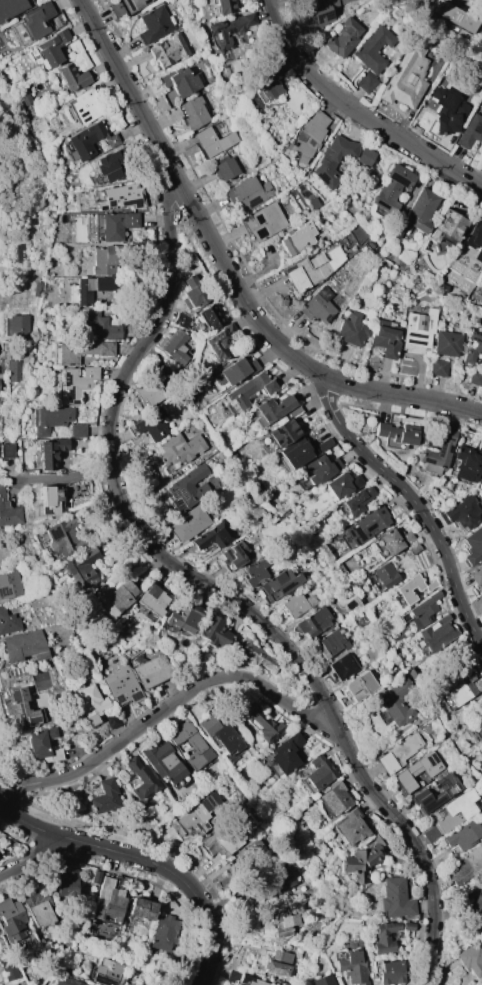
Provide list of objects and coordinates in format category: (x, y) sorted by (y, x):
building: (126, 6)
building: (10, 7)
building: (223, 7)
building: (319, 13)
building: (452, 14)
building: (37, 19)
building: (154, 25)
building: (229, 29)
building: (341, 38)
building: (50, 47)
building: (372, 48)
building: (168, 50)
building: (406, 75)
building: (72, 77)
building: (366, 82)
building: (181, 83)
building: (266, 85)
building: (23, 96)
building: (83, 107)
building: (447, 110)
building: (192, 112)
road: (357, 113)
building: (470, 131)
building: (308, 136)
building: (88, 140)
building: (215, 141)
building: (364, 157)
building: (332, 160)
building: (111, 163)
building: (225, 169)
building: (391, 189)
building: (248, 193)
building: (120, 196)
building: (420, 210)
building: (263, 222)
building: (117, 224)
building: (447, 227)
building: (300, 237)
building: (475, 241)
road: (211, 242)
building: (19, 253)
building: (107, 259)
building: (311, 270)
building: (442, 287)
building: (36, 288)
building: (93, 288)
building: (191, 292)
building: (317, 306)
building: (208, 317)
building: (181, 320)
building: (18, 325)
building: (101, 326)
building: (418, 327)
building: (351, 330)
building: (385, 338)
building: (218, 342)
building: (446, 343)
building: (472, 345)
building: (173, 346)
building: (81, 351)
building: (437, 366)
building: (12, 370)
building: (233, 371)
building: (474, 377)
building: (78, 383)
building: (149, 389)
building: (247, 392)
road: (450, 405)
building: (274, 409)
building: (50, 419)
building: (149, 426)
building: (77, 430)
building: (218, 432)
building: (396, 432)
building: (281, 433)
building: (178, 448)
building: (5, 450)
building: (301, 451)
building: (49, 452)
building: (437, 452)
building: (467, 463)
building: (318, 469)
road: (61, 476)
building: (481, 476)
building: (342, 484)
building: (187, 488)
building: (47, 500)
building: (357, 500)
road: (413, 502)
building: (8, 513)
building: (462, 513)
road: (57, 515)
building: (188, 523)
building: (366, 525)
building: (61, 536)
building: (213, 536)
building: (394, 540)
building: (473, 546)
building: (413, 549)
building: (233, 554)
building: (79, 567)
building: (254, 571)
building: (476, 574)
building: (385, 575)
building: (9, 584)
building: (277, 584)
building: (402, 589)
road: (218, 593)
building: (481, 596)
building: (114, 598)
building: (151, 600)
building: (295, 604)
building: (420, 611)
building: (184, 617)
building: (313, 621)
building: (8, 622)
building: (213, 631)
building: (436, 634)
building: (330, 643)
building: (23, 646)
building: (253, 653)
building: (341, 666)
building: (152, 671)
building: (121, 685)
building: (358, 686)
building: (460, 687)
building: (89, 702)
building: (396, 702)
building: (18, 708)
road: (170, 710)
building: (111, 720)
building: (261, 724)
building: (479, 725)
building: (219, 731)
building: (42, 744)
building: (191, 744)
building: (481, 745)
building: (397, 752)
building: (285, 753)
building: (164, 763)
building: (416, 770)
building: (318, 772)
building: (140, 778)
building: (437, 792)
building: (103, 797)
building: (333, 798)
building: (456, 811)
building: (194, 816)
building: (349, 827)
building: (464, 835)
building: (220, 840)
road: (32, 858)
building: (361, 860)
road: (145, 861)
building: (466, 866)
building: (116, 876)
building: (95, 877)
building: (283, 881)
building: (67, 883)
building: (394, 898)
building: (107, 900)
building: (476, 904)
building: (35, 906)
building: (140, 909)
building: (14, 921)
building: (281, 921)
building: (407, 926)
building: (164, 932)
building: (384, 938)
building: (471, 957)
building: (276, 963)
building: (8, 968)
building: (351, 968)
building: (388, 971)
building: (108, 972)
building: (249, 980)
building: (322, 980)
building: (67, 981)

